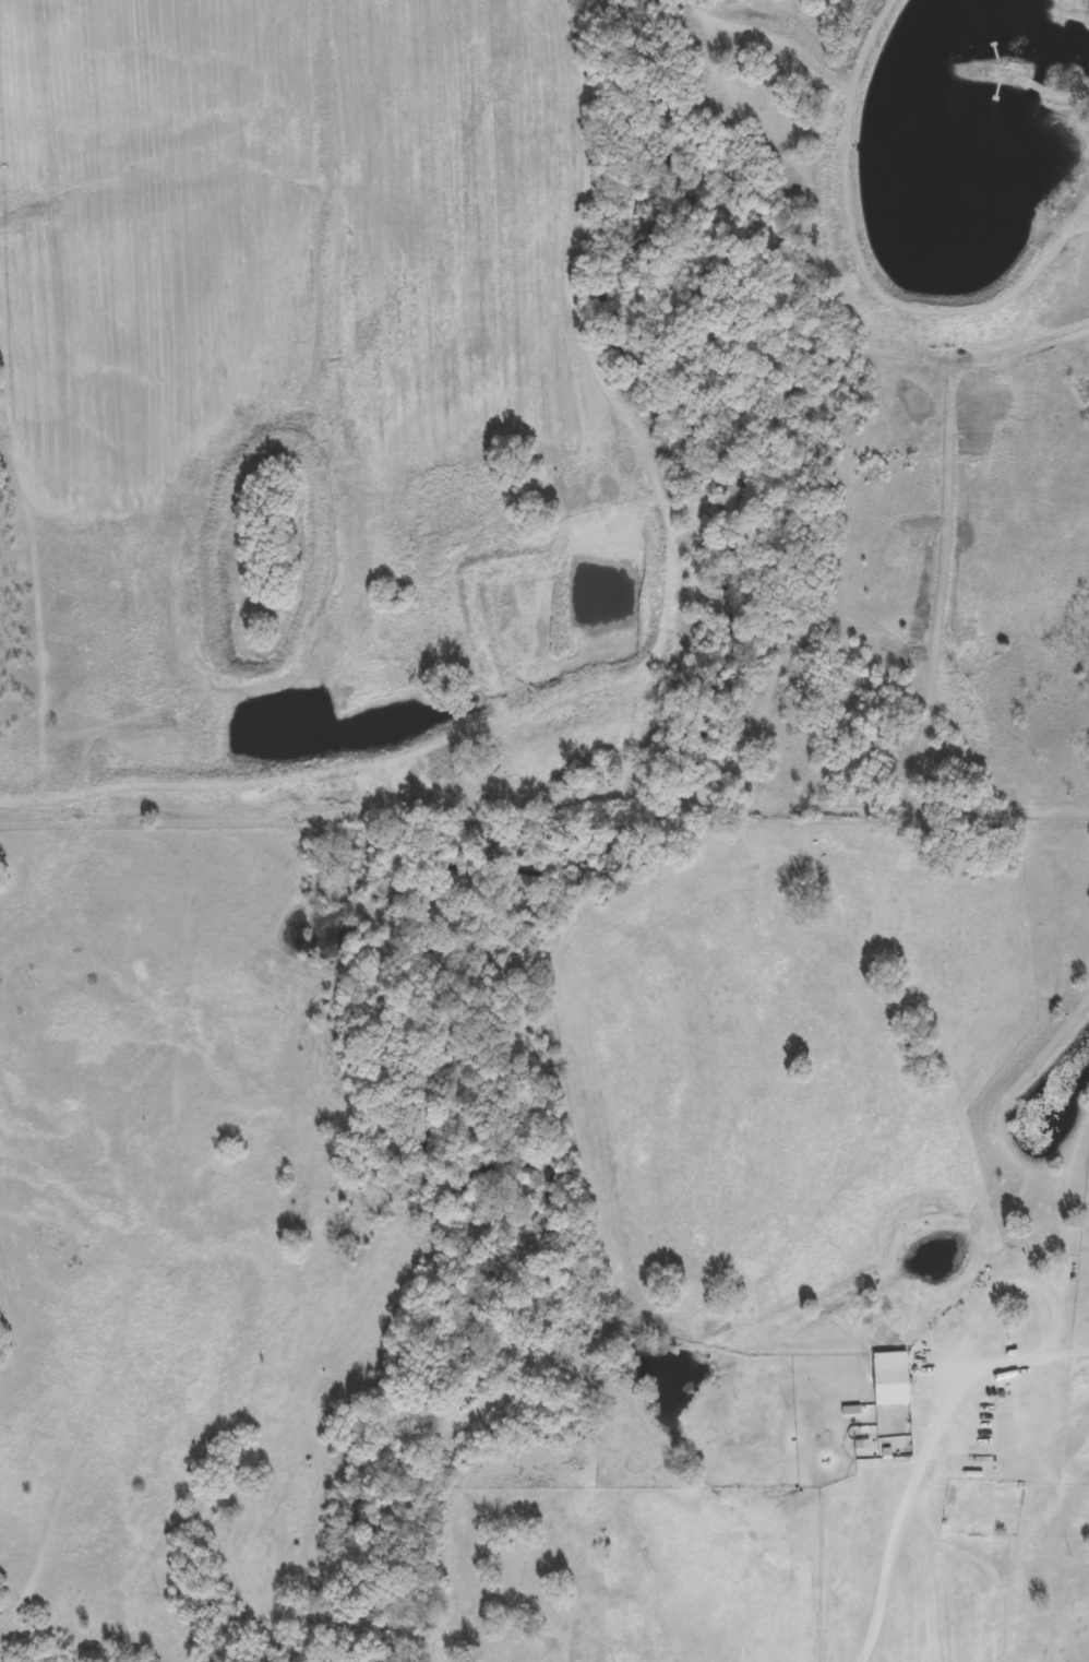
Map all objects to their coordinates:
building: (888, 1378)
road: (933, 1462)

